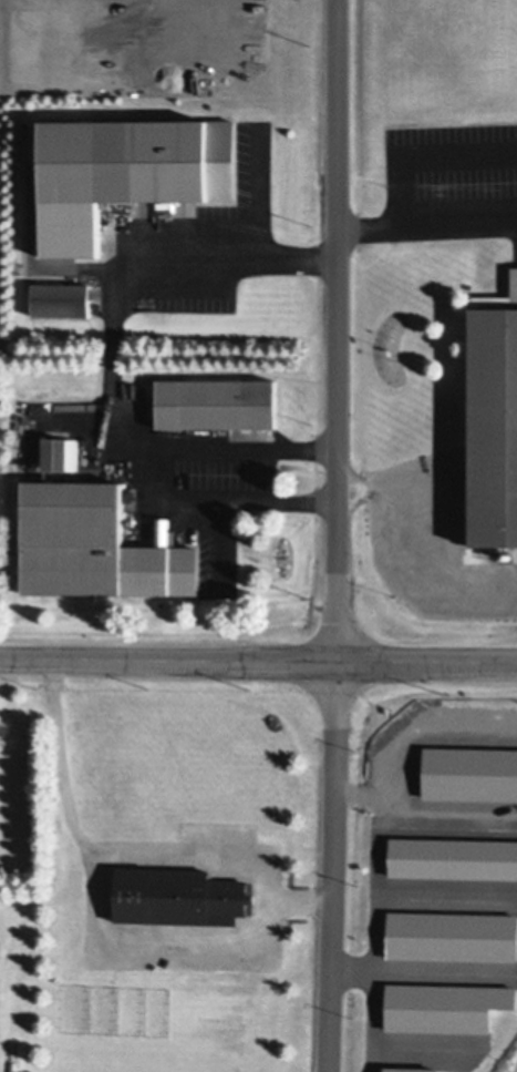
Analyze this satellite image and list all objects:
road: (422, 151)
building: (166, 154)
road: (426, 227)
building: (99, 242)
building: (61, 296)
road: (337, 330)
road: (110, 355)
building: (228, 400)
building: (495, 415)
building: (209, 431)
building: (59, 451)
road: (216, 500)
road: (421, 538)
building: (94, 541)
road: (258, 661)
road: (117, 849)
road: (331, 866)
building: (177, 895)

